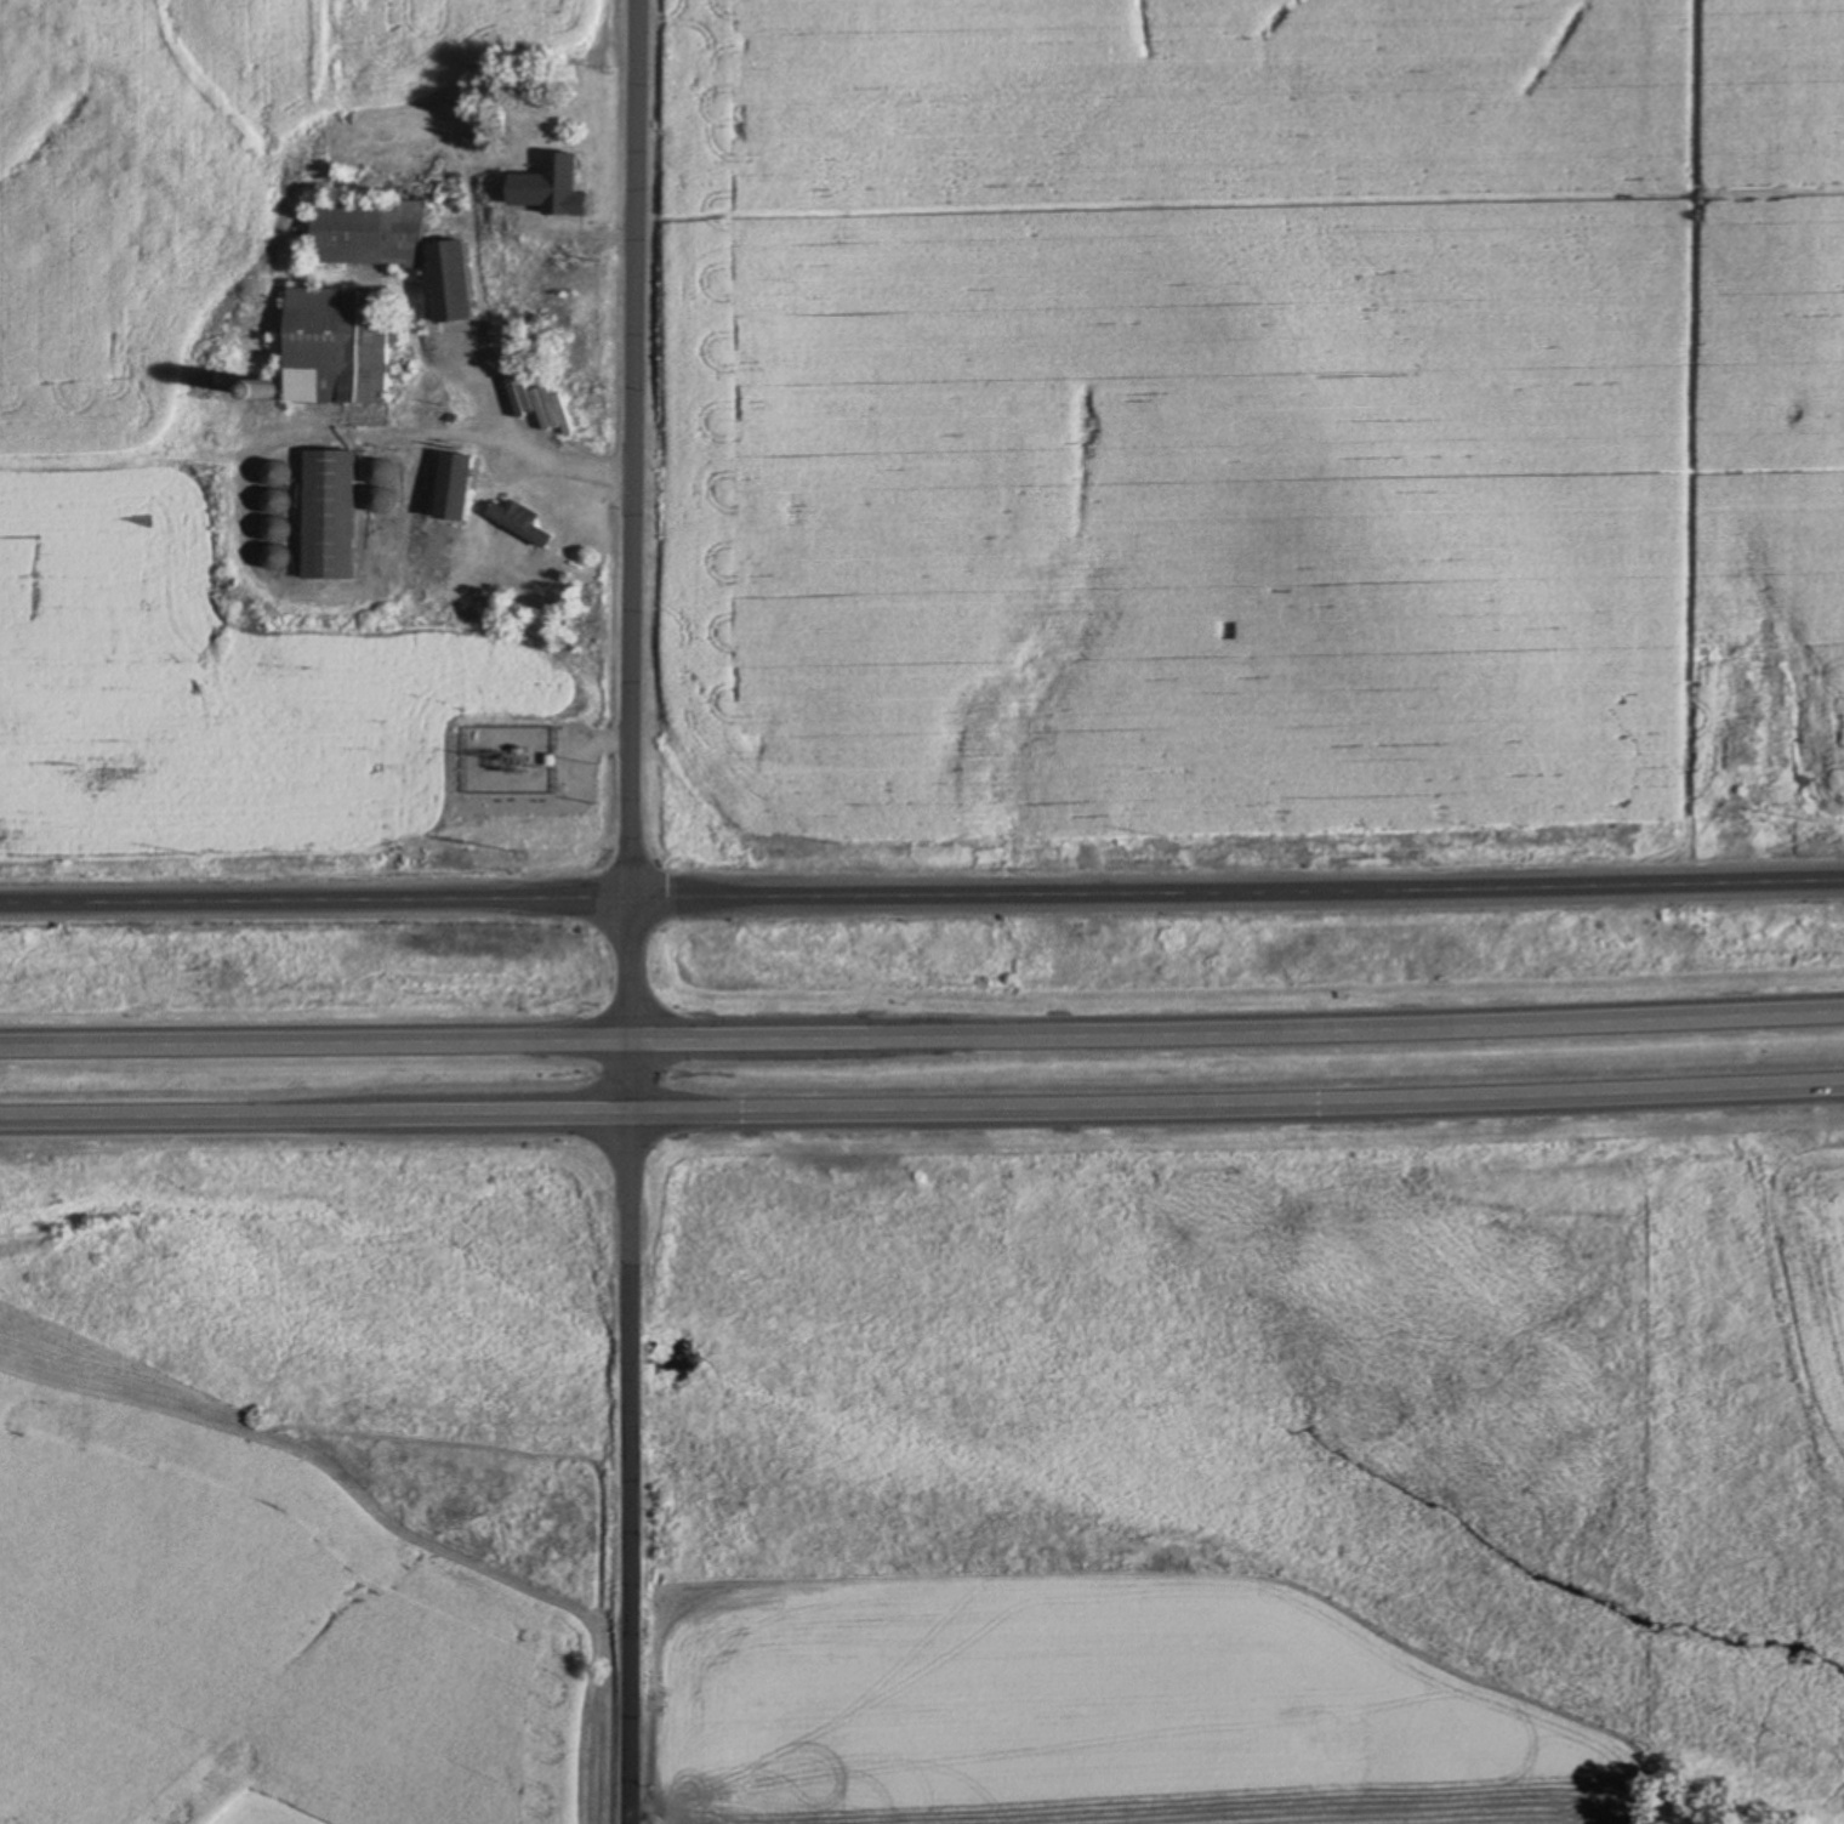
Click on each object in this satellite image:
building: (551, 159)
building: (551, 193)
building: (369, 231)
building: (457, 282)
building: (338, 345)
building: (563, 414)
crop: (1250, 414)
building: (465, 465)
building: (382, 472)
building: (278, 475)
building: (332, 515)
building: (524, 522)
building: (386, 541)
building: (280, 542)
road: (1236, 893)
road: (314, 900)
road: (630, 911)
road: (922, 1022)
road: (921, 1103)
crop: (1811, 1307)
crop: (295, 1614)
crop: (1097, 1705)

